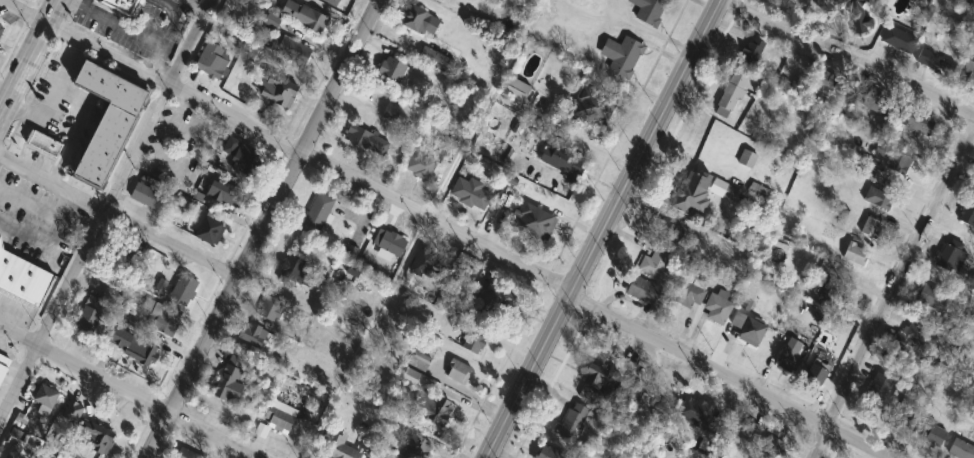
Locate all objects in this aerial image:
road: (187, 0)
building: (881, 1)
building: (332, 2)
building: (970, 2)
building: (123, 5)
road: (196, 5)
building: (650, 10)
building: (854, 15)
building: (304, 16)
building: (419, 21)
building: (1, 26)
building: (2, 33)
building: (899, 40)
building: (293, 51)
building: (751, 53)
road: (848, 54)
building: (622, 56)
road: (28, 58)
building: (213, 60)
building: (936, 62)
building: (391, 70)
building: (969, 74)
building: (825, 83)
building: (515, 90)
building: (733, 91)
building: (279, 92)
building: (877, 103)
road: (156, 104)
road: (481, 109)
building: (391, 112)
building: (106, 121)
building: (915, 121)
building: (366, 141)
building: (43, 142)
road: (287, 144)
building: (242, 158)
building: (895, 159)
building: (562, 160)
building: (423, 164)
road: (52, 182)
building: (225, 193)
building: (470, 193)
building: (144, 195)
building: (686, 197)
building: (877, 198)
building: (317, 215)
building: (968, 215)
building: (535, 222)
road: (597, 227)
road: (259, 228)
building: (872, 228)
building: (211, 229)
railway: (600, 229)
building: (670, 231)
road: (169, 243)
building: (391, 244)
building: (856, 254)
building: (953, 257)
building: (654, 264)
building: (296, 272)
building: (463, 274)
building: (22, 279)
building: (183, 290)
building: (643, 290)
building: (690, 296)
building: (932, 298)
road: (895, 299)
building: (496, 300)
building: (718, 309)
building: (271, 310)
road: (51, 312)
building: (93, 312)
building: (161, 316)
building: (749, 329)
building: (253, 335)
building: (913, 336)
road: (363, 338)
building: (472, 343)
building: (131, 345)
building: (790, 354)
building: (419, 361)
building: (4, 368)
building: (458, 372)
building: (816, 374)
road: (726, 376)
building: (410, 377)
building: (596, 379)
building: (229, 381)
road: (128, 392)
building: (630, 393)
building: (876, 393)
building: (45, 396)
building: (702, 404)
building: (434, 410)
building: (899, 415)
building: (279, 419)
building: (574, 421)
building: (750, 432)
building: (933, 436)
building: (93, 440)
building: (335, 441)
building: (774, 442)
building: (961, 449)
building: (549, 453)
building: (186, 454)

